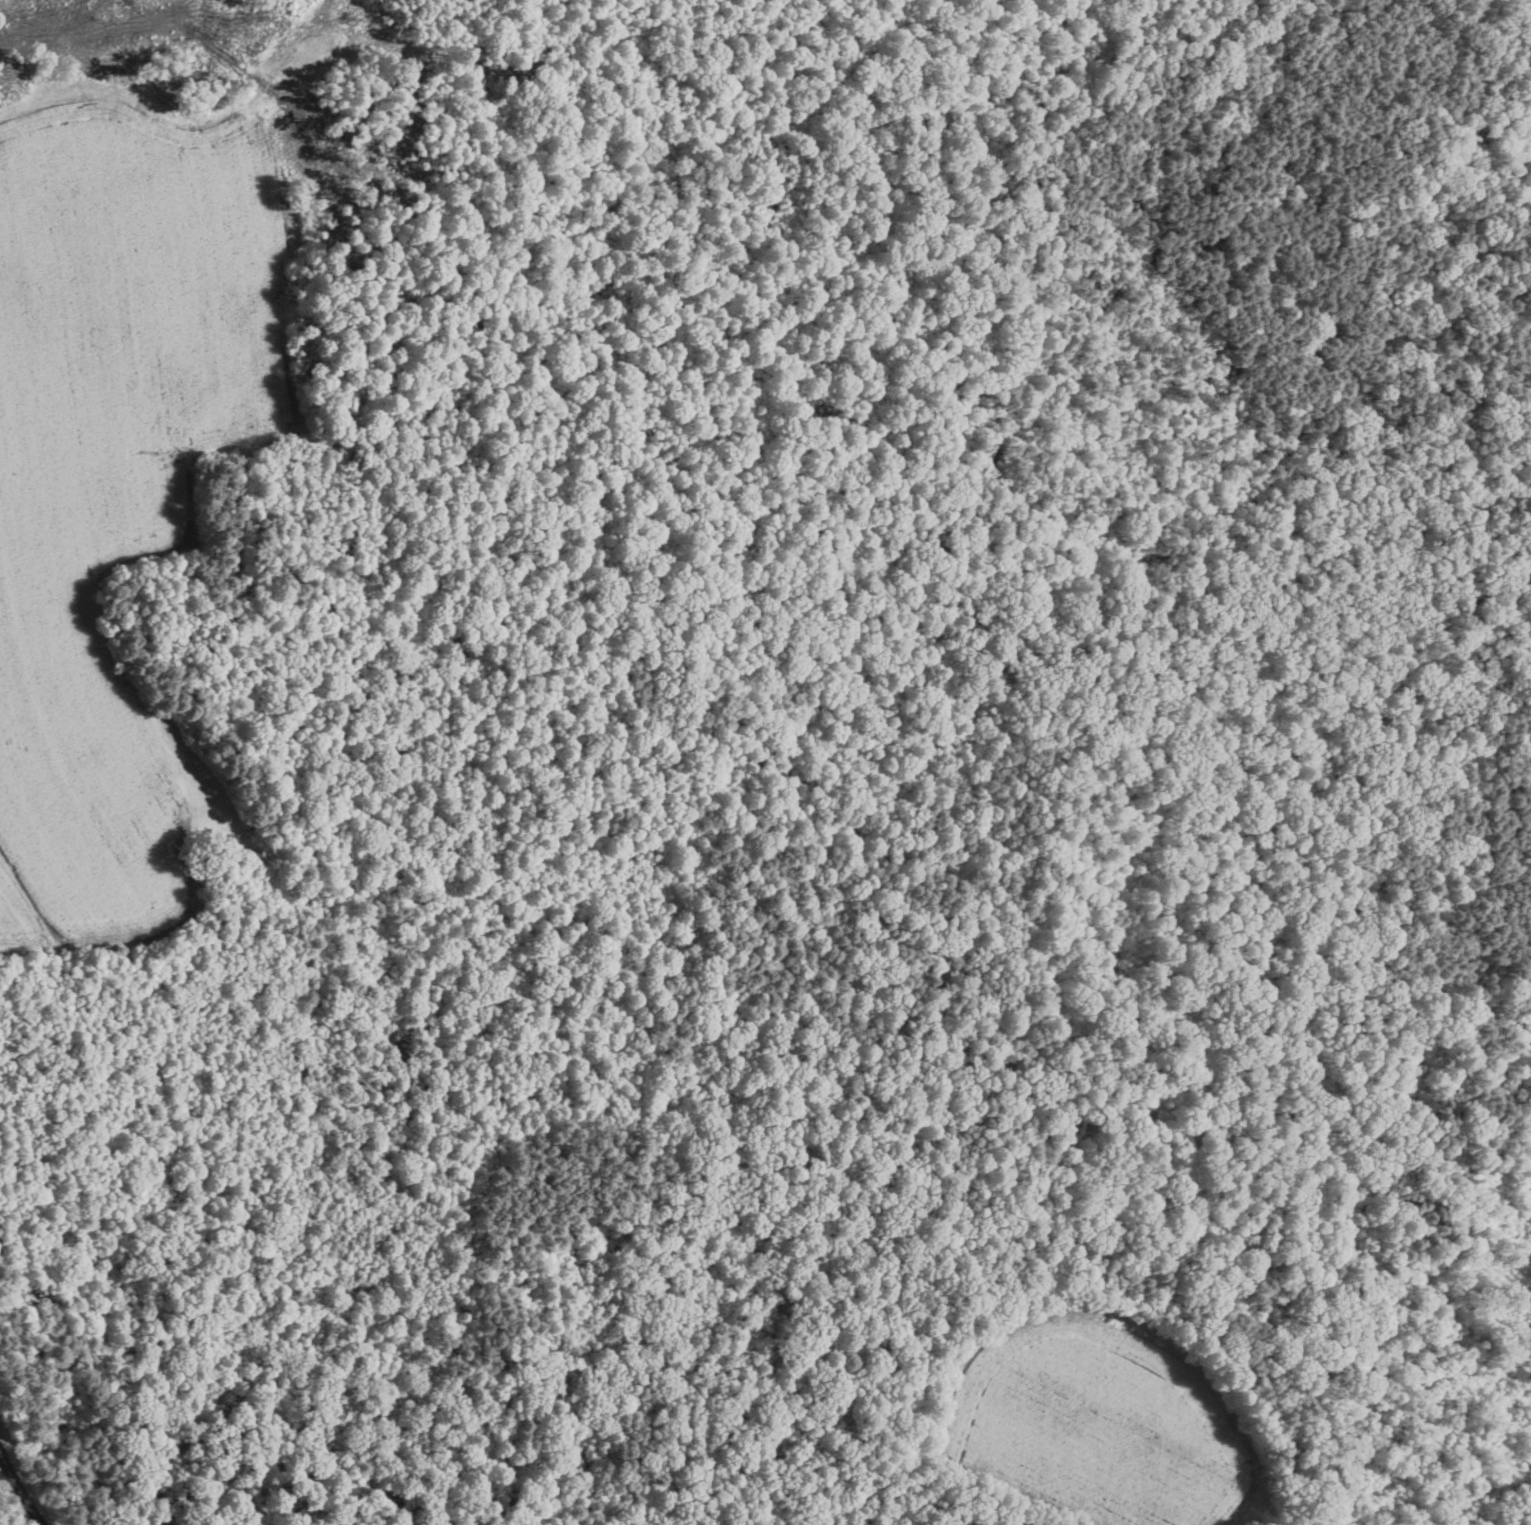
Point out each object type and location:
road: (1, 1454)
road: (18, 1487)

